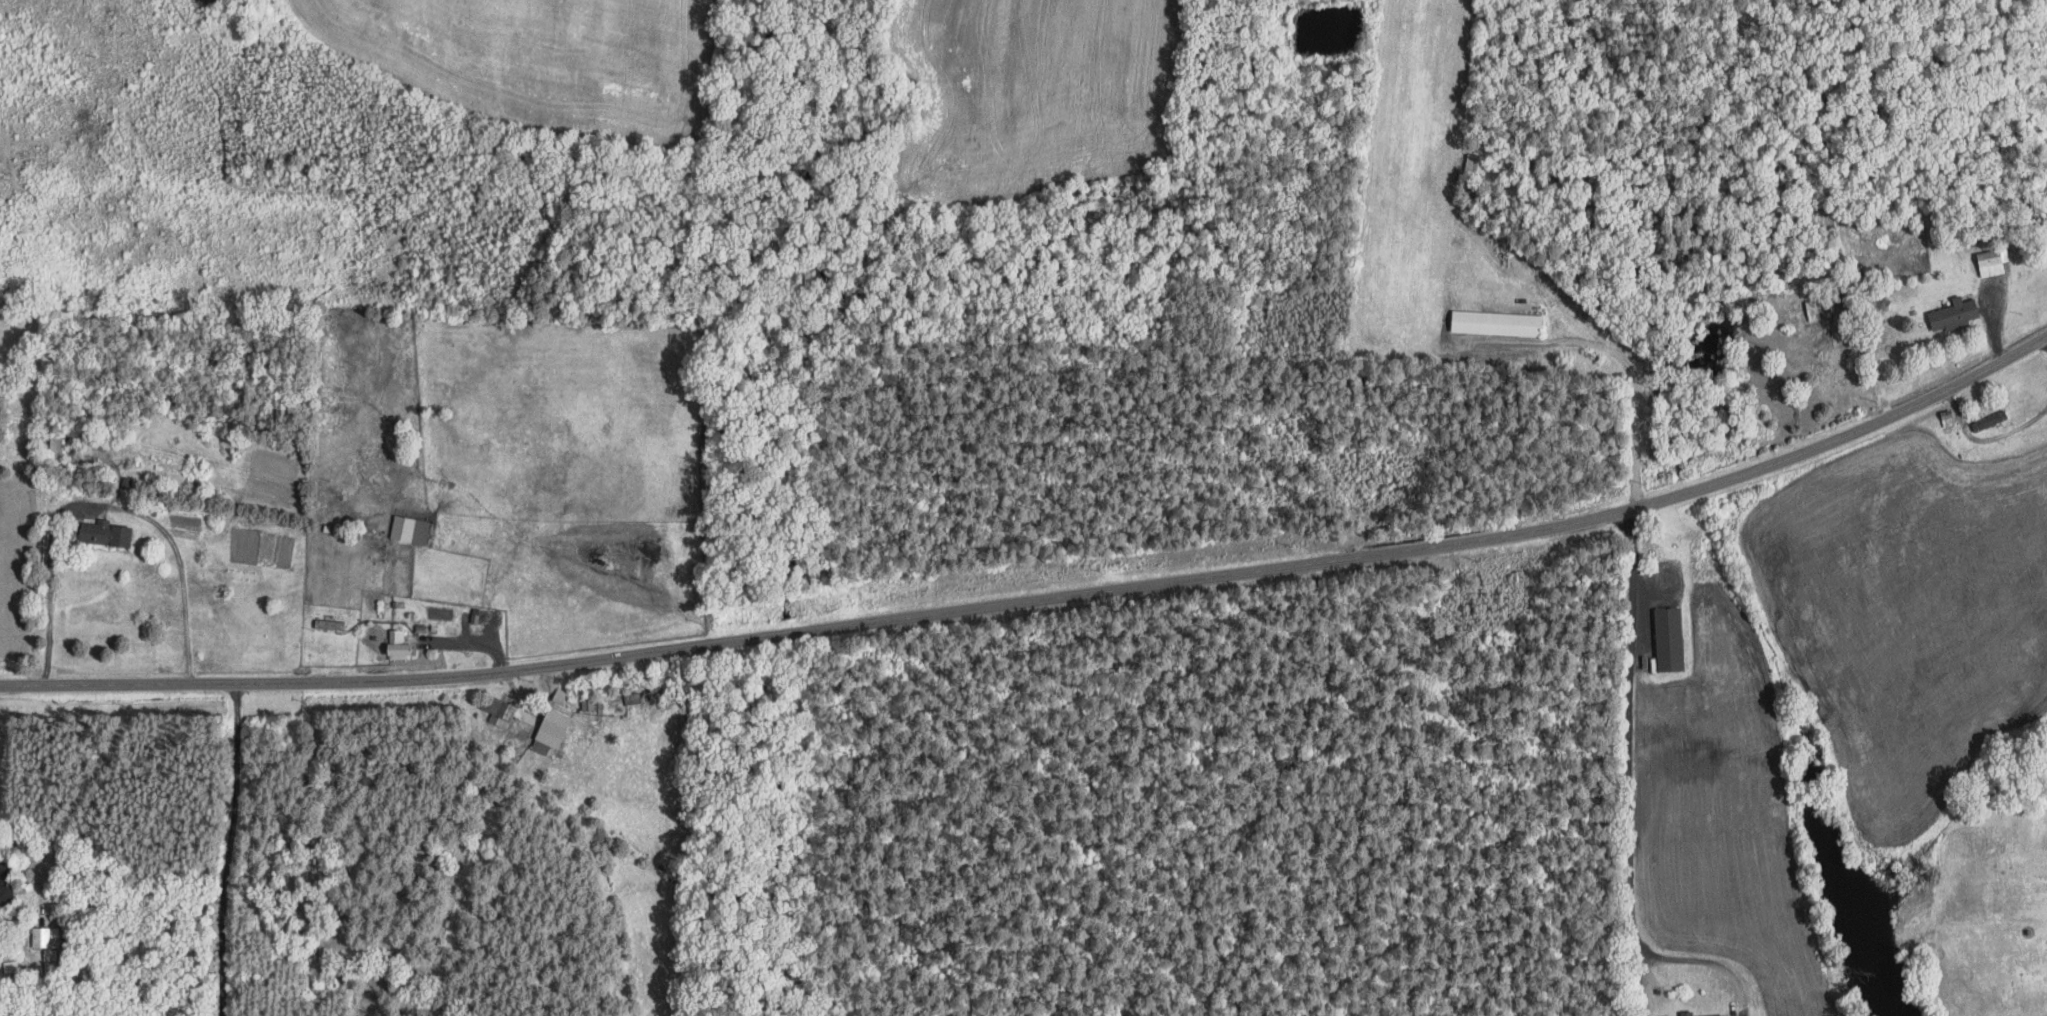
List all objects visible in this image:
road: (2004, 111)
airport runway: (1412, 164)
building: (1991, 262)
building: (1813, 309)
building: (1956, 313)
building: (1497, 322)
road: (2046, 338)
building: (1991, 419)
road: (1984, 438)
building: (128, 481)
road: (106, 504)
building: (410, 528)
building: (107, 532)
road: (1042, 598)
building: (330, 624)
building: (1670, 638)
road: (470, 642)
building: (401, 644)
building: (588, 702)
building: (499, 710)
building: (552, 730)
road: (1101, 756)
road: (1628, 797)
road: (228, 851)
building: (6, 894)
building: (48, 946)
road: (1635, 979)
building: (1687, 1012)

